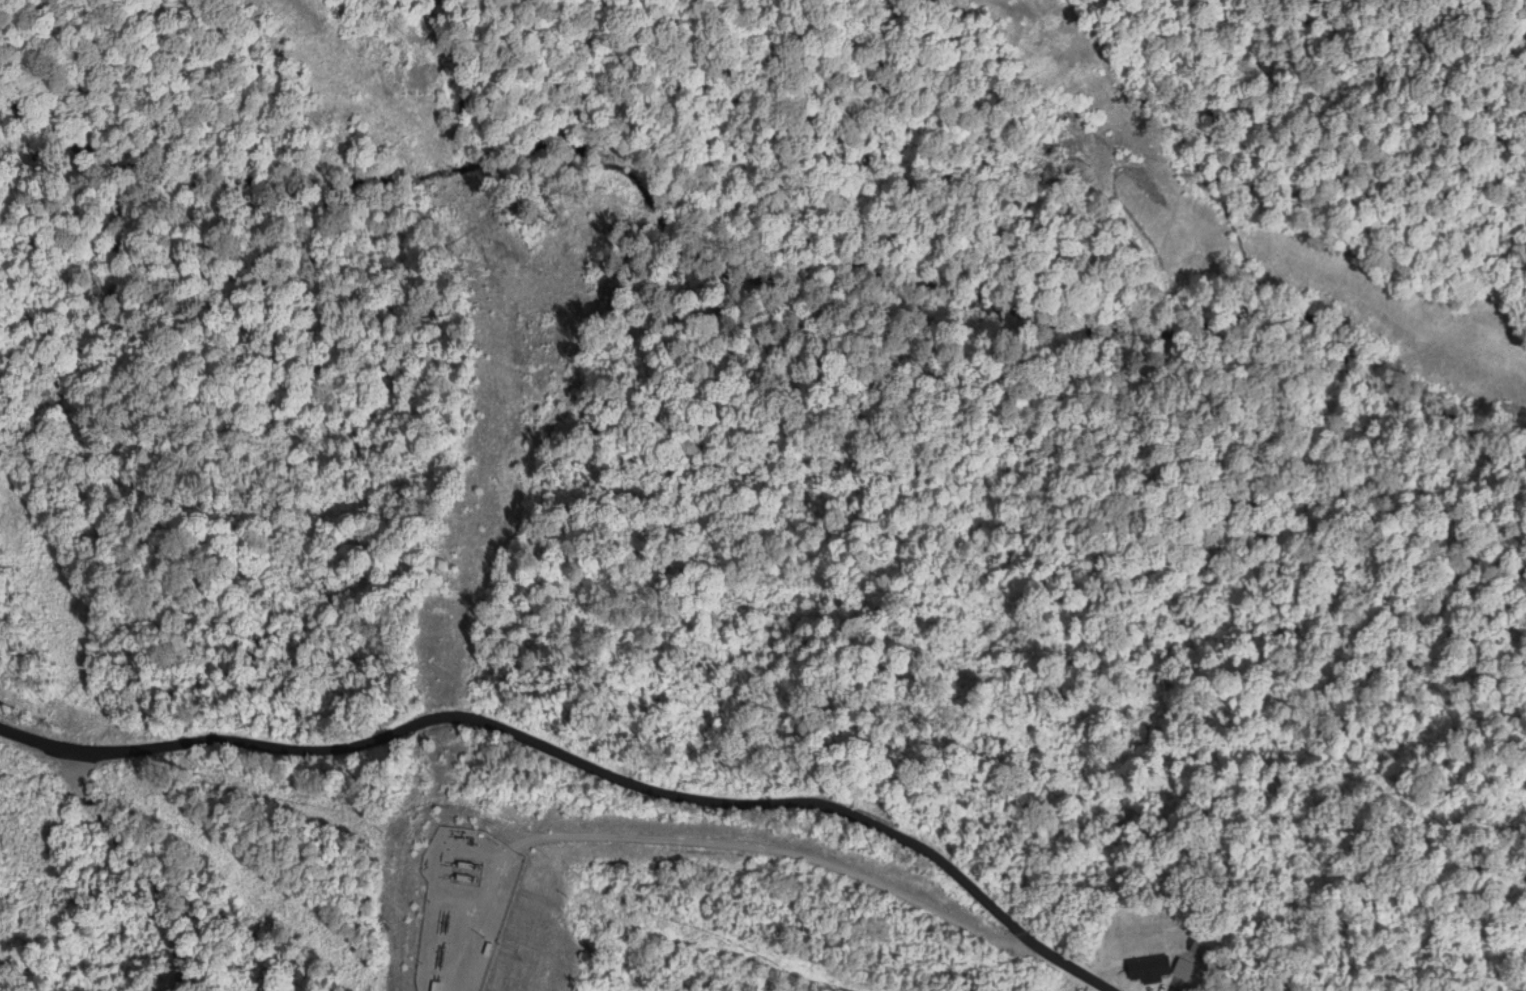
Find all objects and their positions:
road: (578, 760)
road: (704, 839)
road: (130, 865)
building: (1148, 972)

